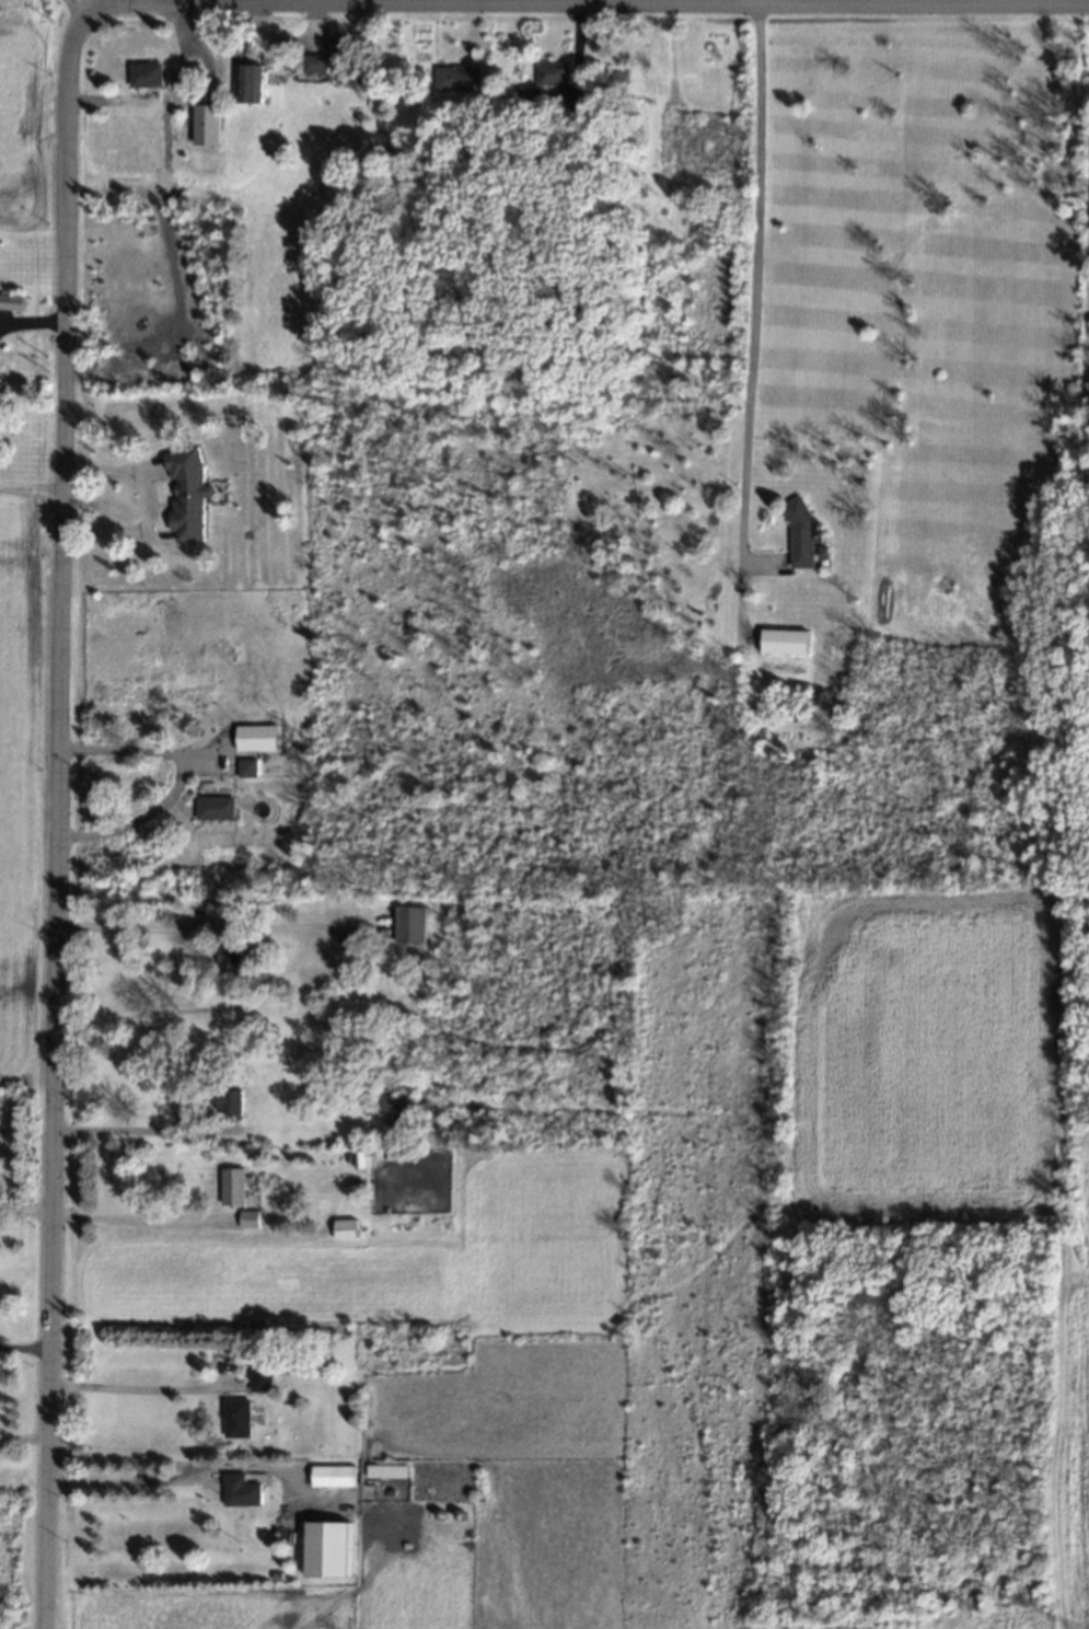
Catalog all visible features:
road: (211, 4)
road: (578, 9)
building: (341, 51)
building: (311, 65)
building: (553, 73)
building: (146, 74)
building: (247, 80)
building: (456, 80)
building: (183, 81)
building: (526, 92)
building: (205, 126)
road: (753, 289)
building: (11, 303)
road: (1085, 354)
building: (186, 495)
road: (149, 508)
building: (800, 533)
building: (783, 643)
building: (255, 739)
building: (245, 769)
road: (175, 778)
building: (213, 809)
road: (56, 819)
building: (409, 926)
road: (196, 933)
building: (229, 960)
building: (228, 1104)
building: (395, 1104)
crop: (943, 1109)
road: (135, 1135)
building: (361, 1160)
building: (232, 1188)
road: (25, 1217)
building: (248, 1220)
road: (136, 1225)
building: (345, 1229)
road: (24, 1352)
building: (259, 1380)
road: (131, 1393)
building: (235, 1419)
building: (385, 1472)
building: (332, 1477)
road: (123, 1486)
building: (239, 1492)
building: (326, 1550)

